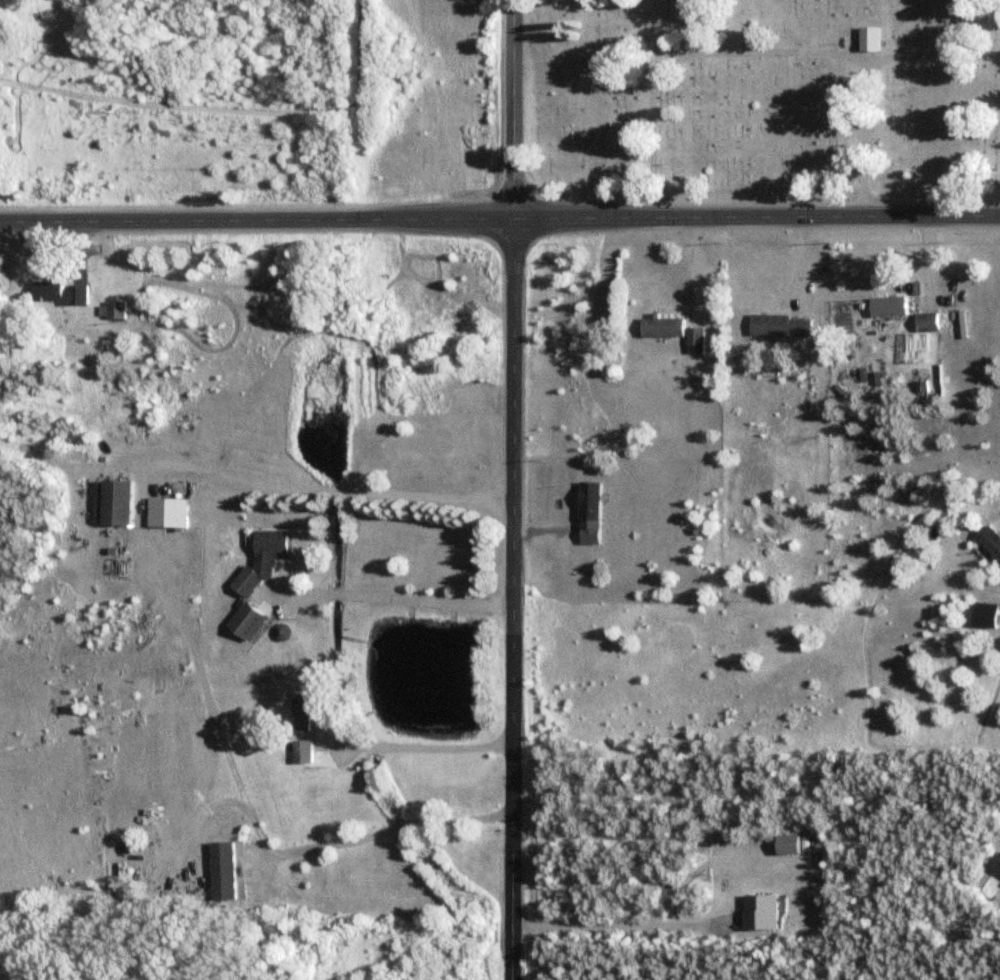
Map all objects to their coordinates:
building: (876, 39)
building: (0, 40)
road: (751, 51)
park: (766, 93)
road: (864, 137)
road: (500, 225)
building: (64, 293)
building: (894, 307)
building: (118, 310)
building: (932, 322)
building: (784, 326)
building: (668, 328)
road: (327, 489)
road: (509, 490)
building: (117, 503)
building: (172, 513)
building: (988, 542)
building: (270, 558)
road: (398, 597)
building: (984, 615)
building: (252, 619)
building: (307, 705)
road: (413, 746)
road: (252, 818)
building: (783, 844)
building: (995, 863)
building: (229, 872)
building: (757, 912)
road: (616, 925)

